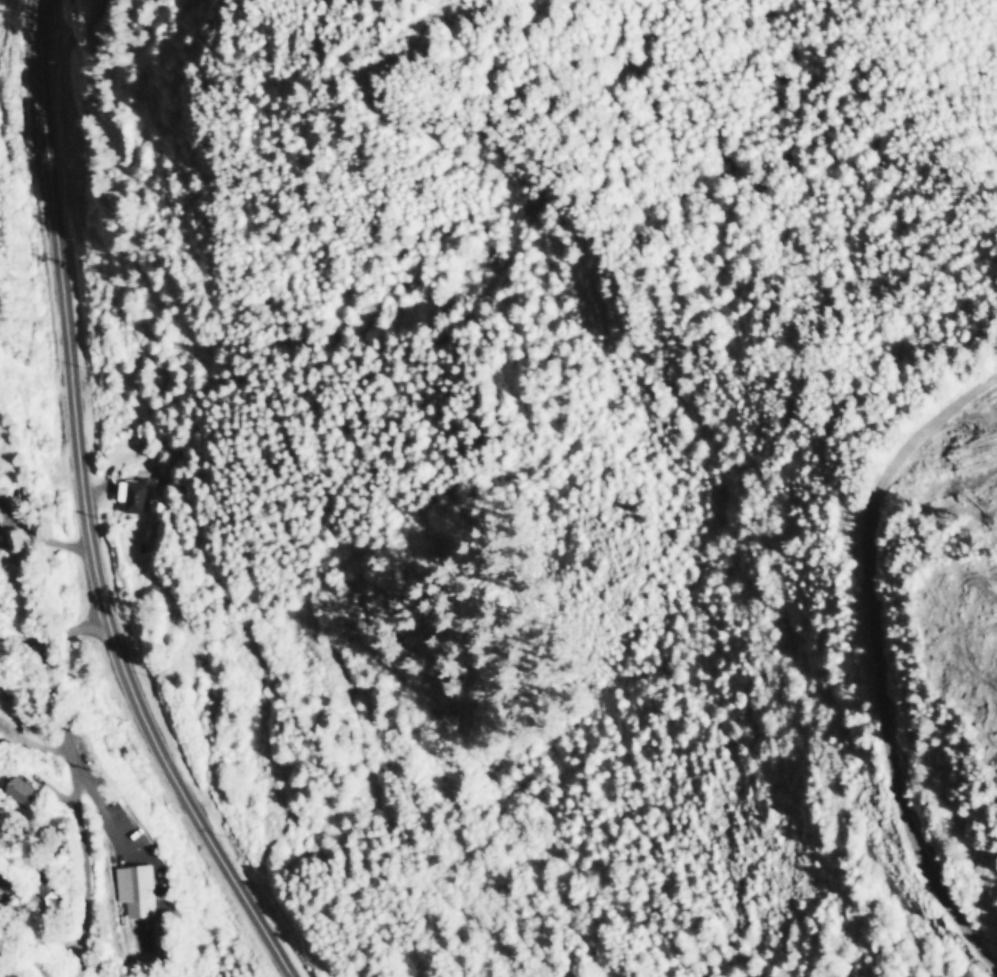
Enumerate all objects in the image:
building: (129, 493)
road: (84, 511)
road: (35, 531)
road: (891, 659)
road: (71, 778)
building: (17, 788)
building: (132, 888)

